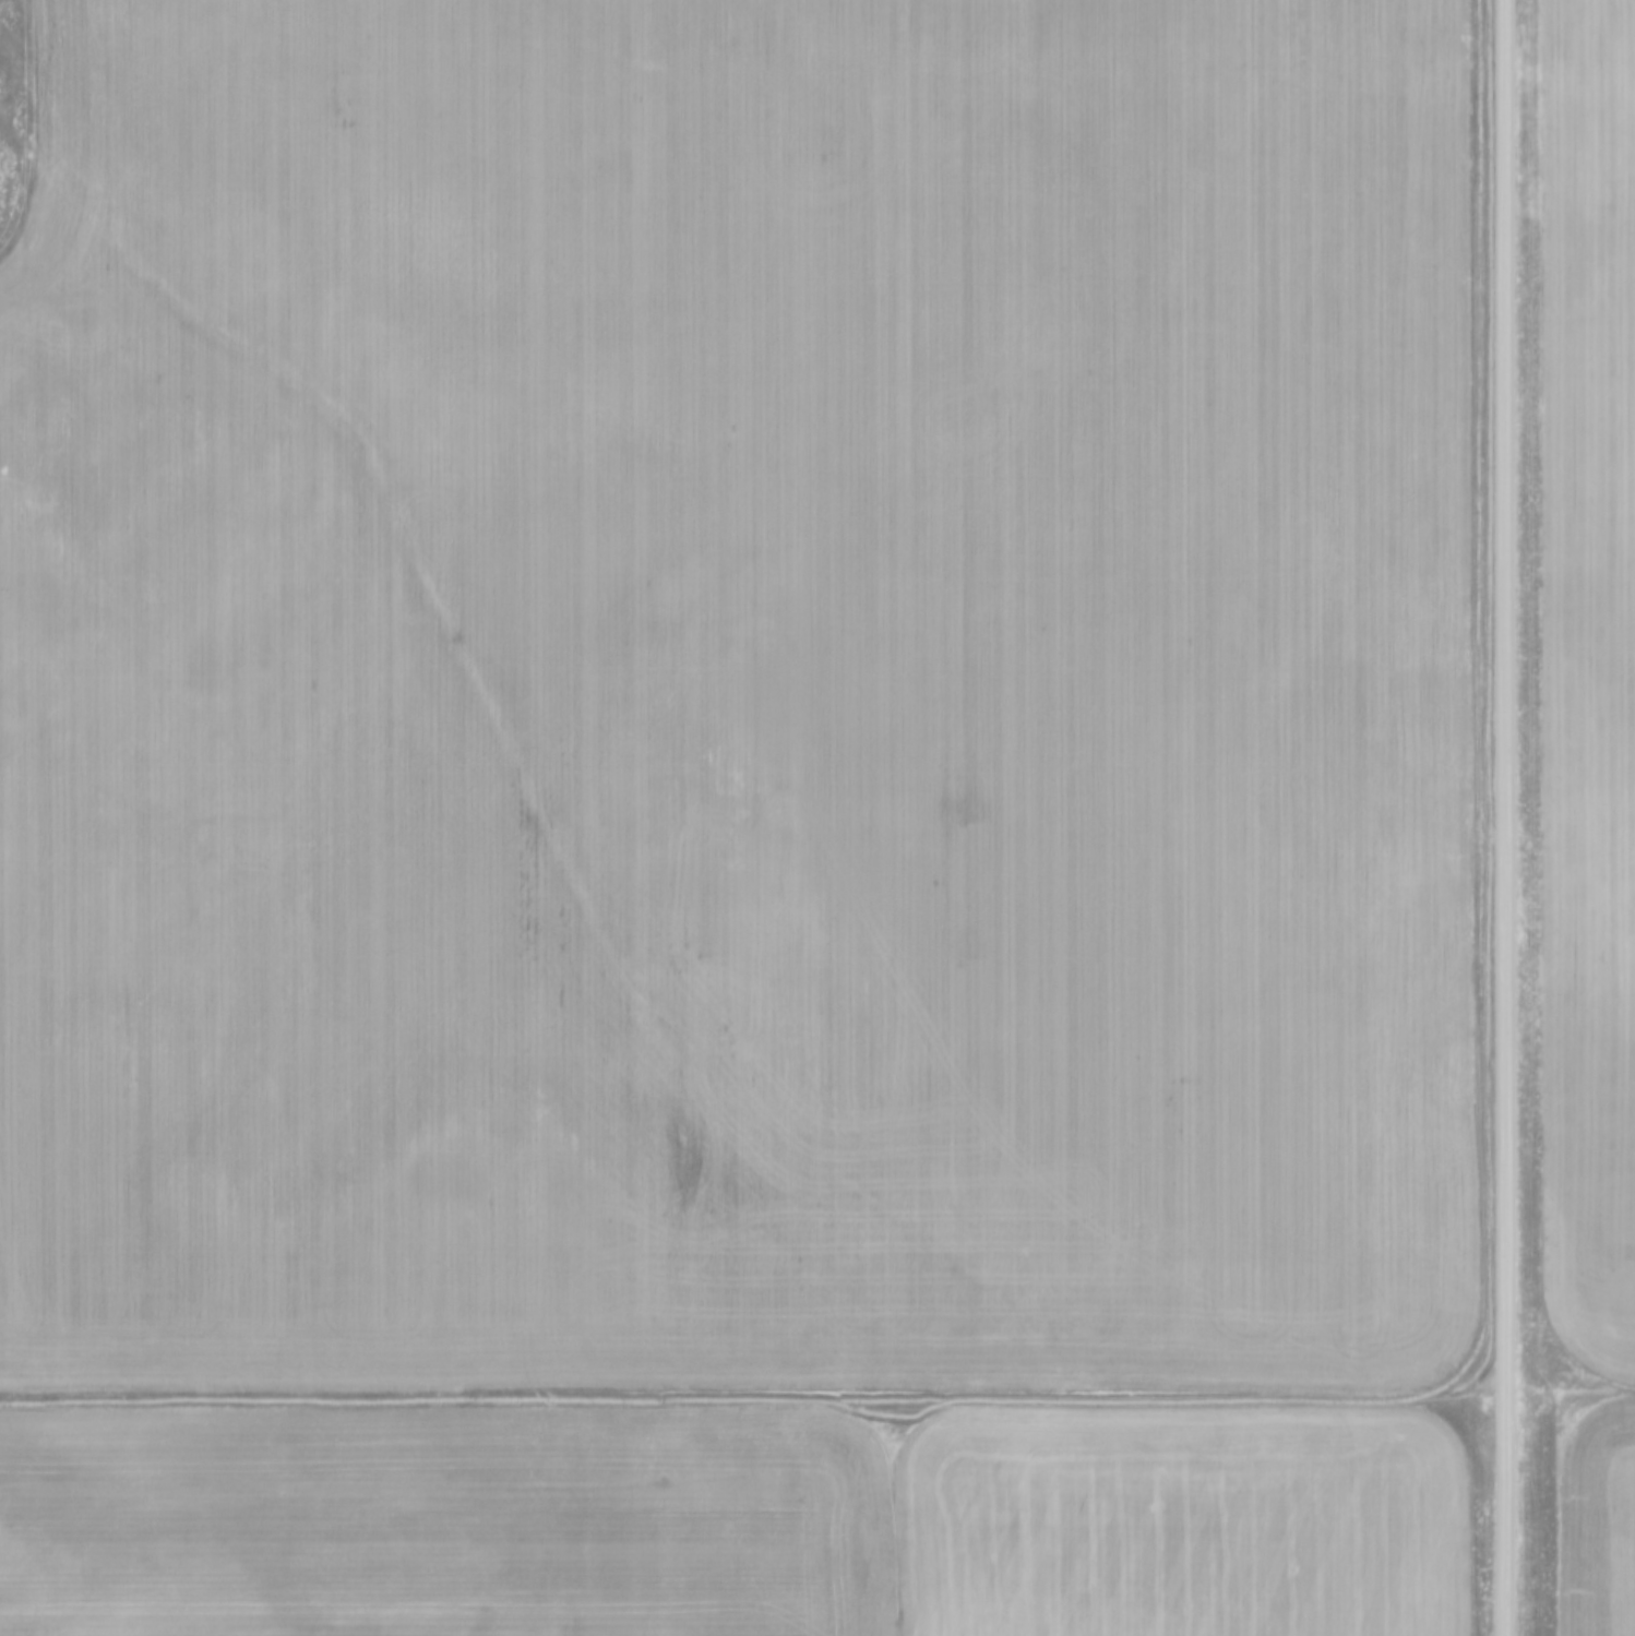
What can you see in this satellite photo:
road: (1505, 817)

